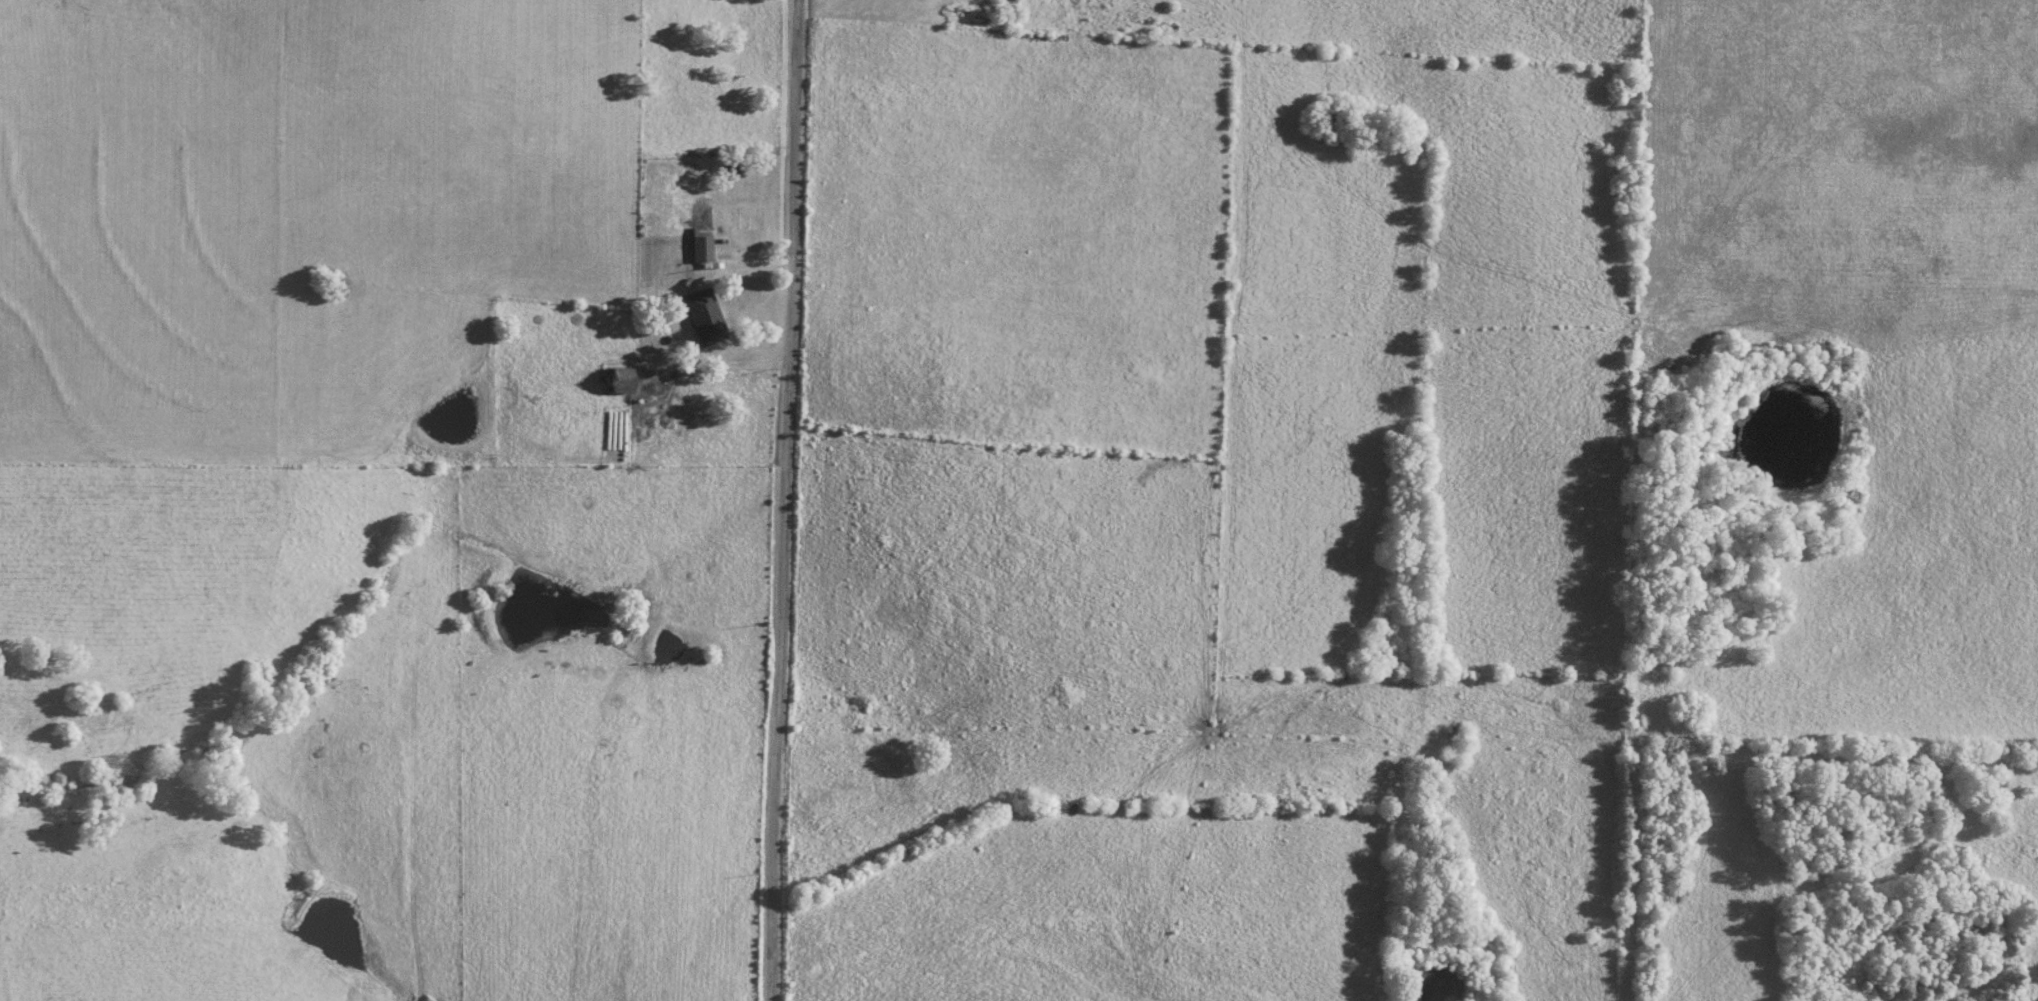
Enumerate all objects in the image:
building: (703, 244)
building: (706, 315)
building: (618, 380)
road: (786, 500)

